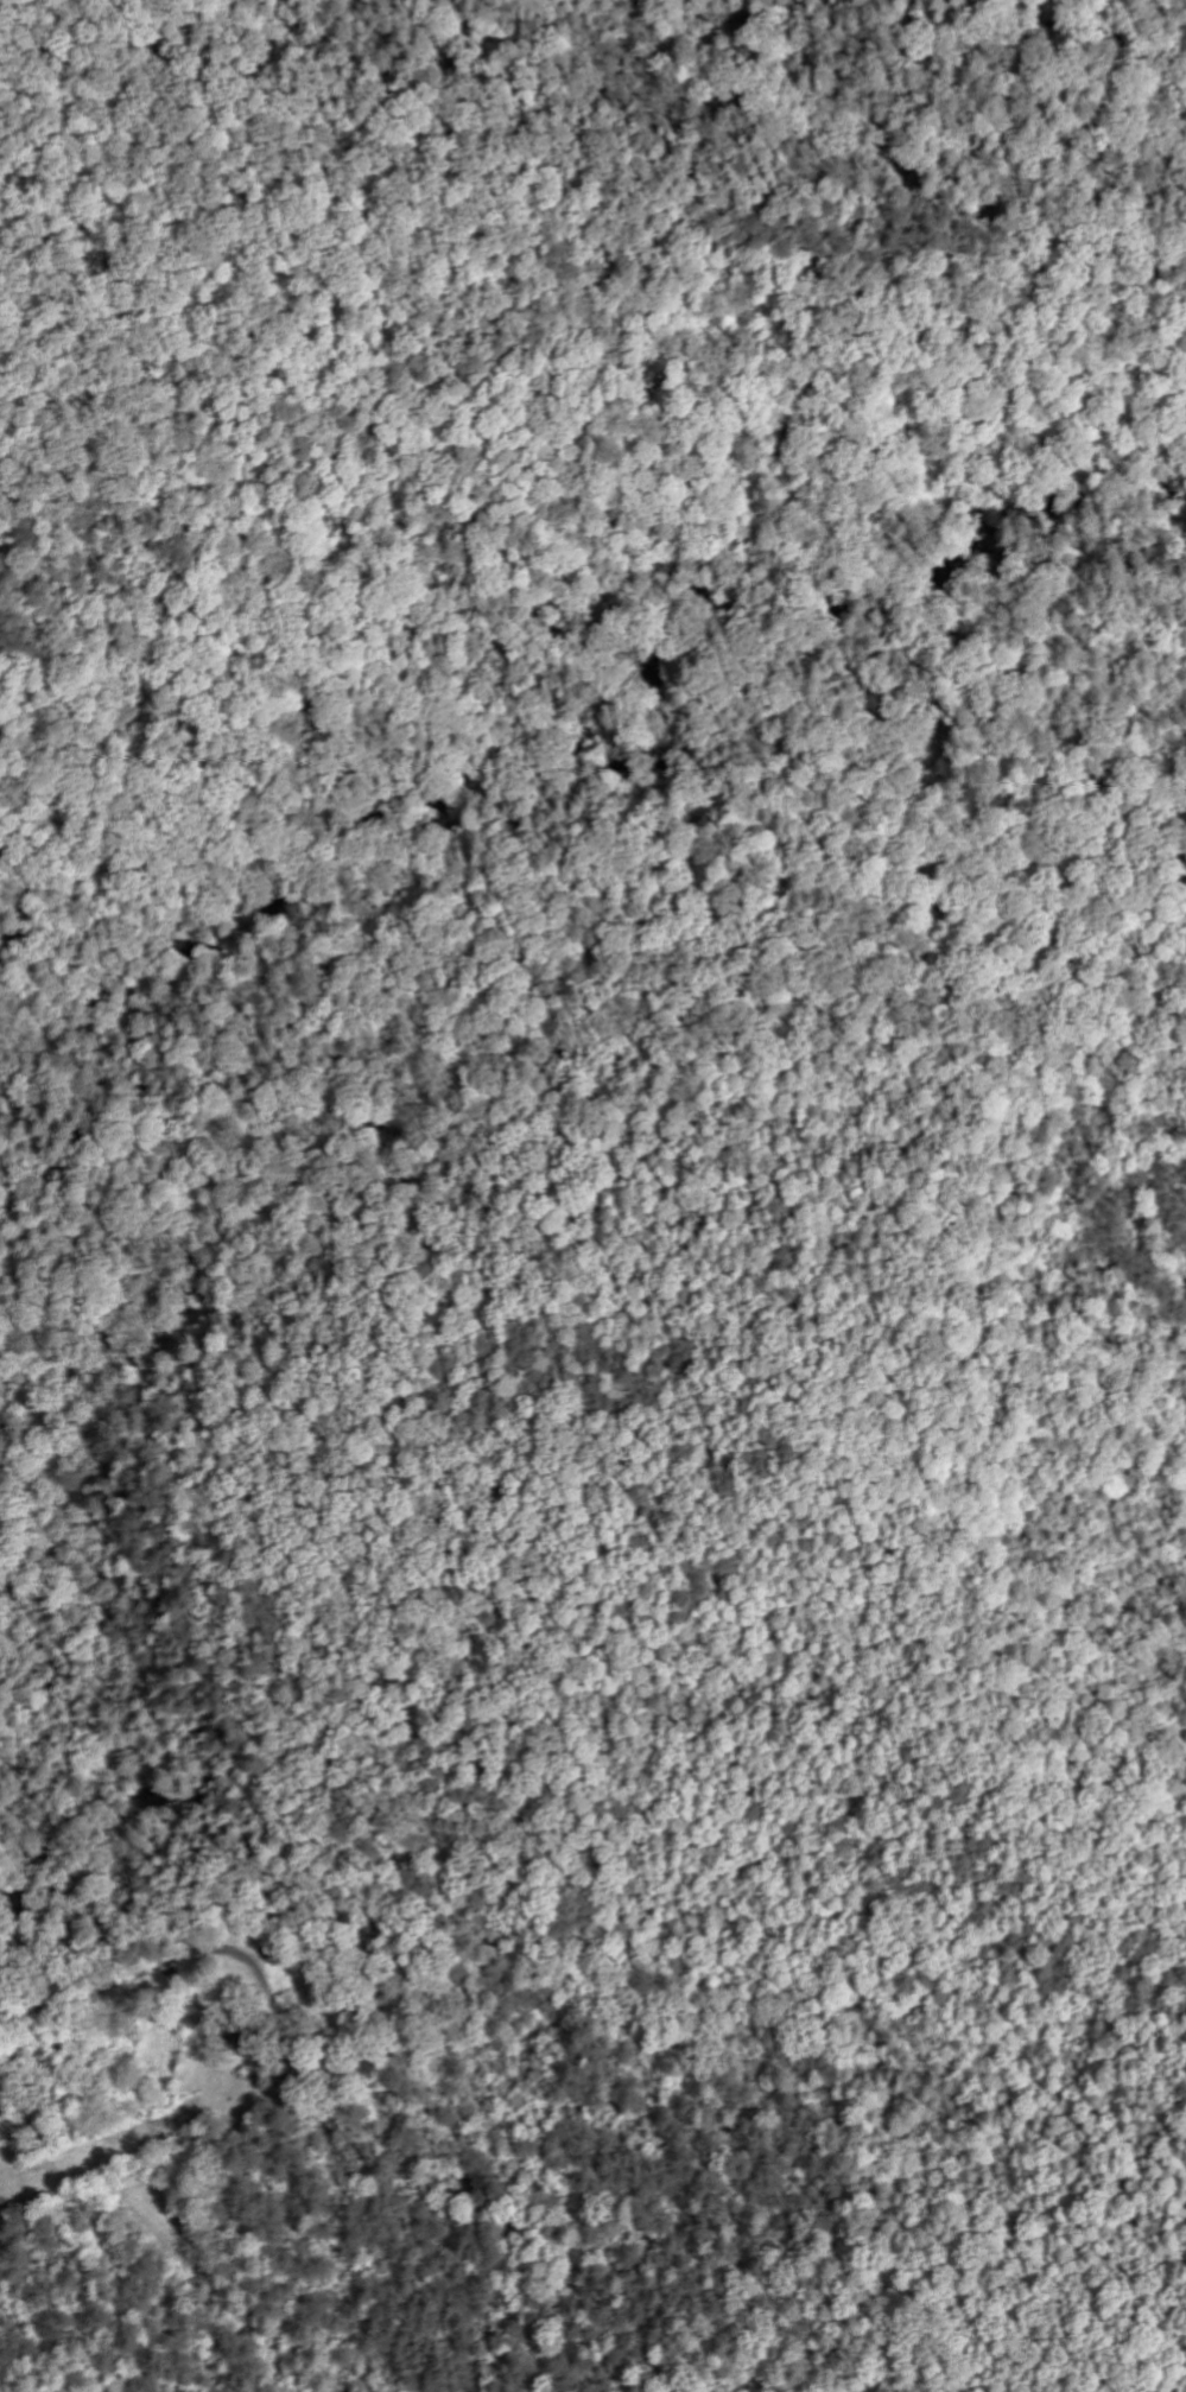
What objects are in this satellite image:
road: (125, 1978)

